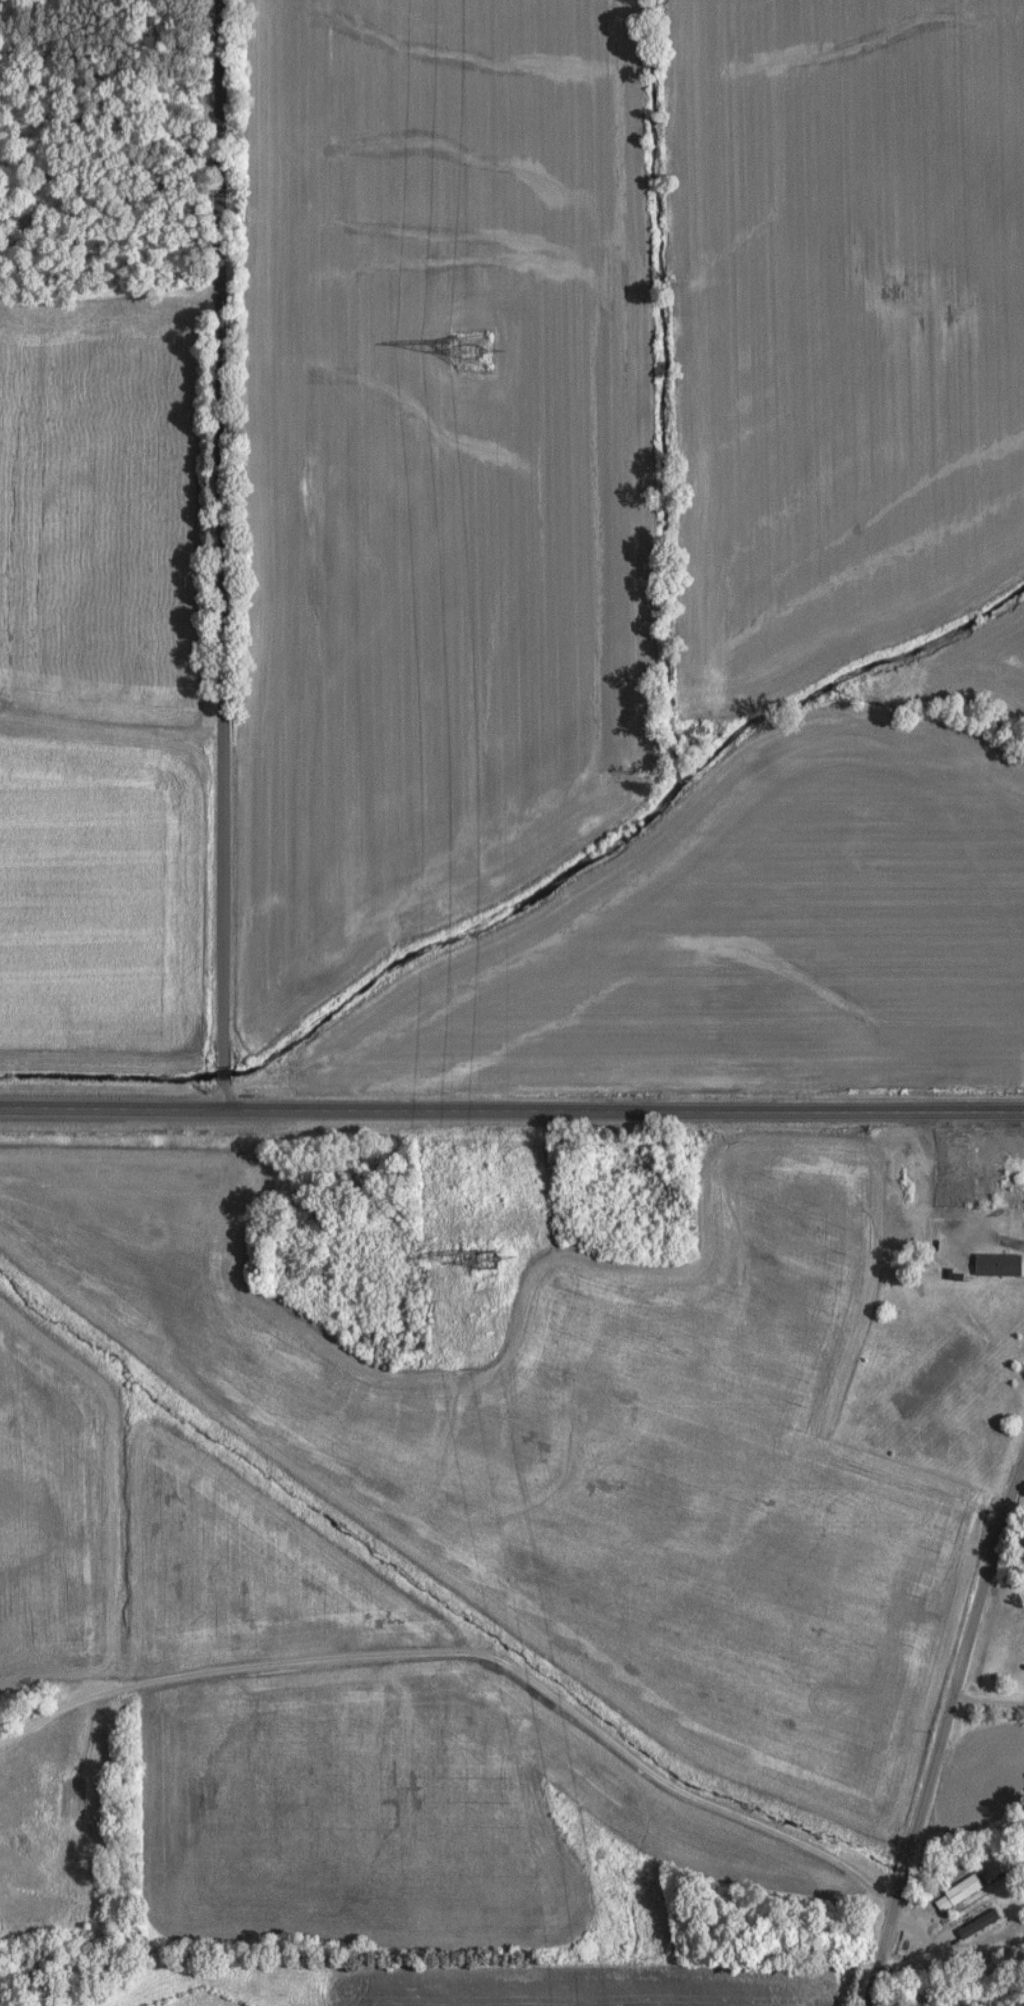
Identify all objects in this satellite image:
road: (107, 115)
power tower: (471, 352)
road: (217, 555)
road: (512, 1113)
road: (950, 1202)
power tower: (493, 1261)
building: (996, 1265)
road: (478, 1653)
road: (989, 1705)
road: (945, 1731)
building: (954, 1892)
building: (974, 1922)
road: (960, 1945)

